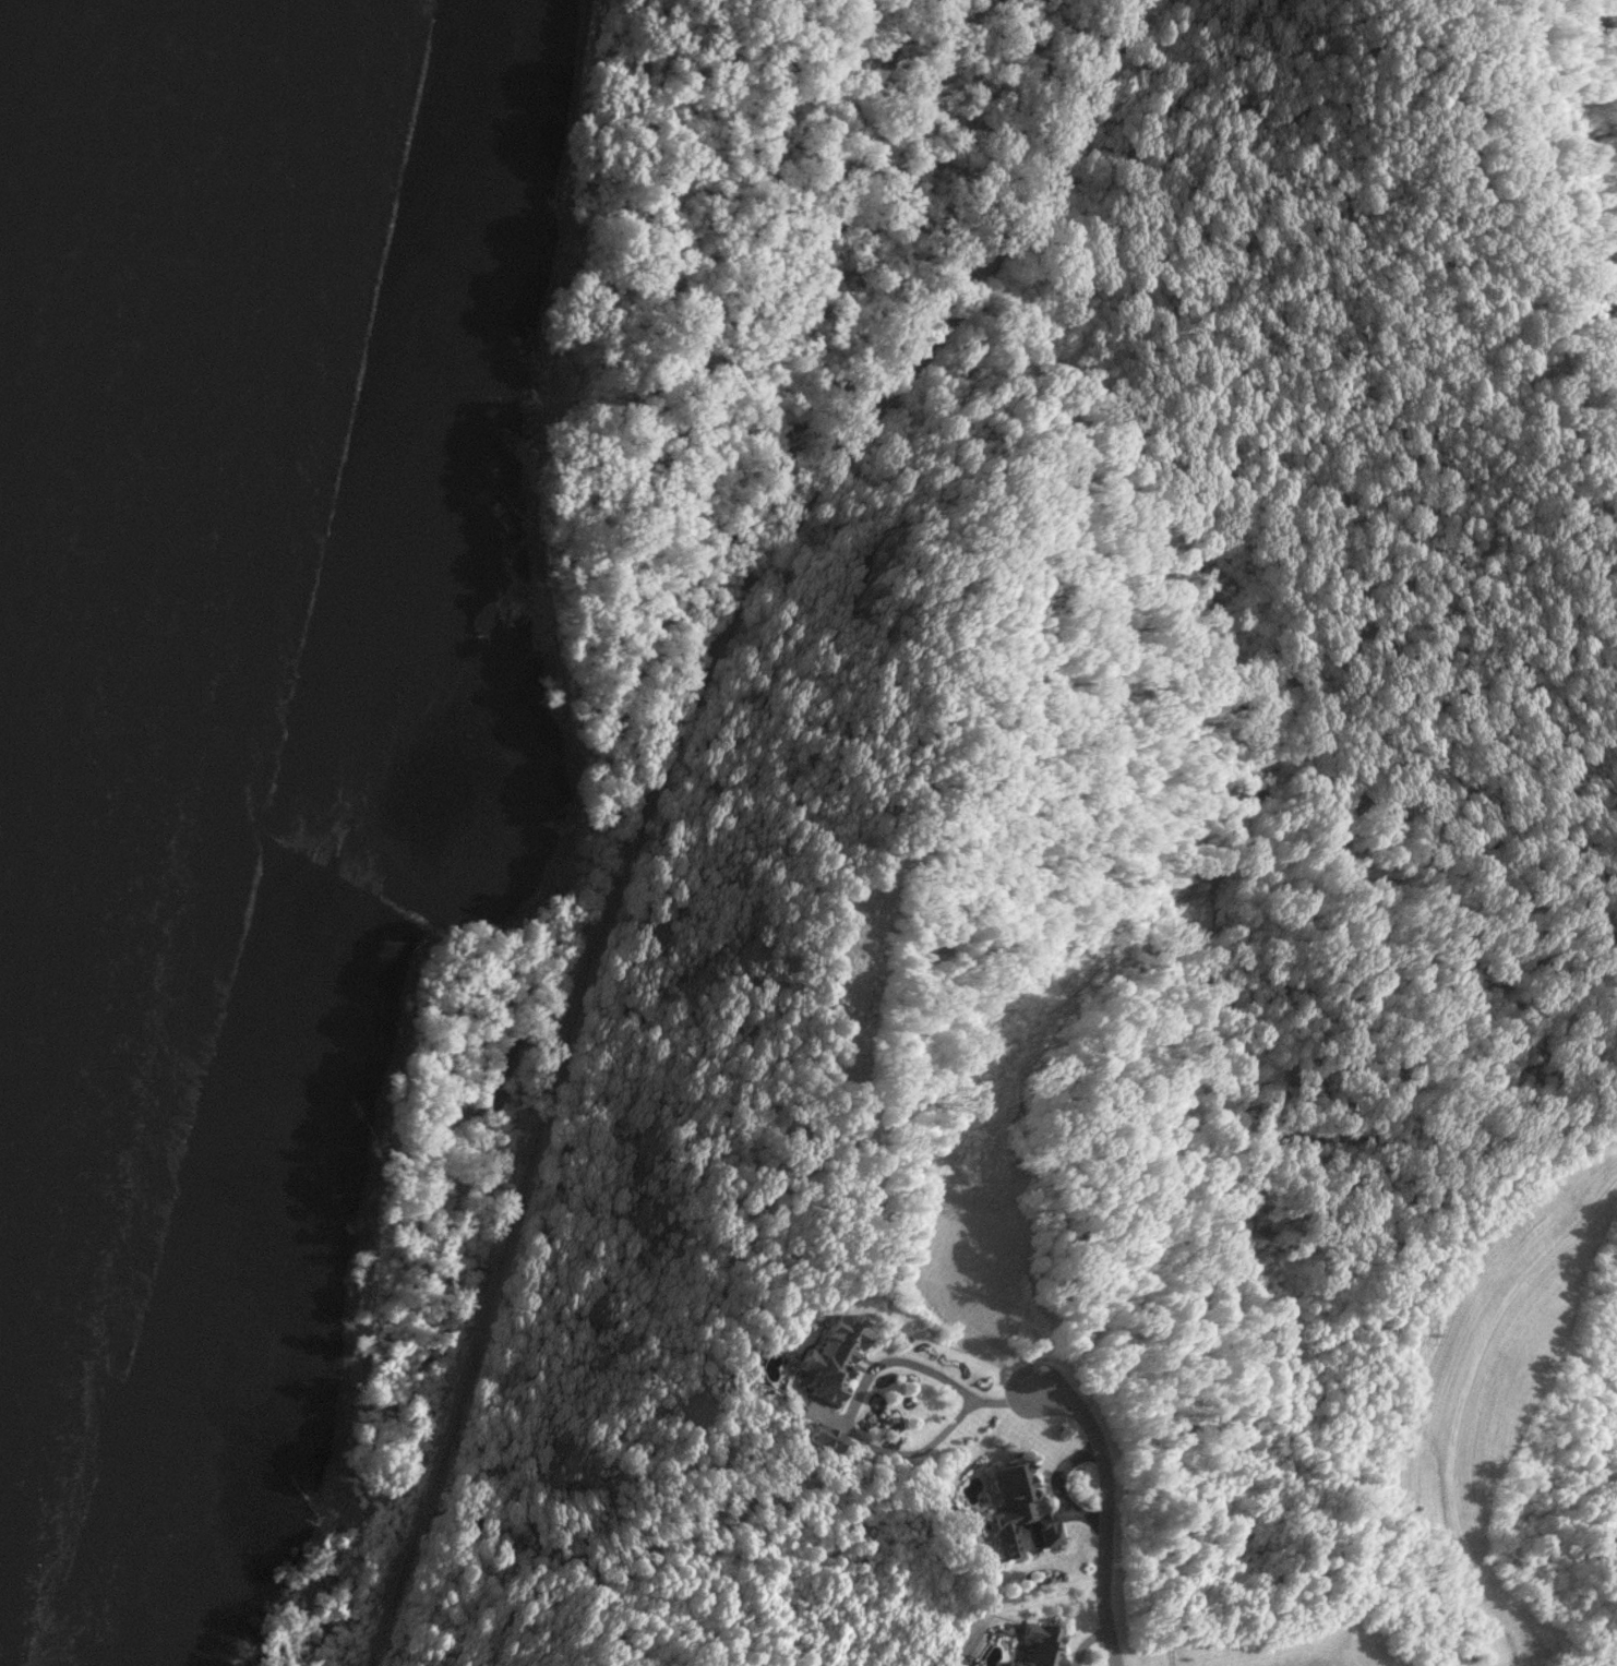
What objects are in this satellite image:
railway: (657, 784)
building: (837, 1356)
road: (1448, 1404)
building: (828, 1436)
road: (865, 1441)
building: (1025, 1509)
road: (1105, 1515)
building: (1040, 1645)

